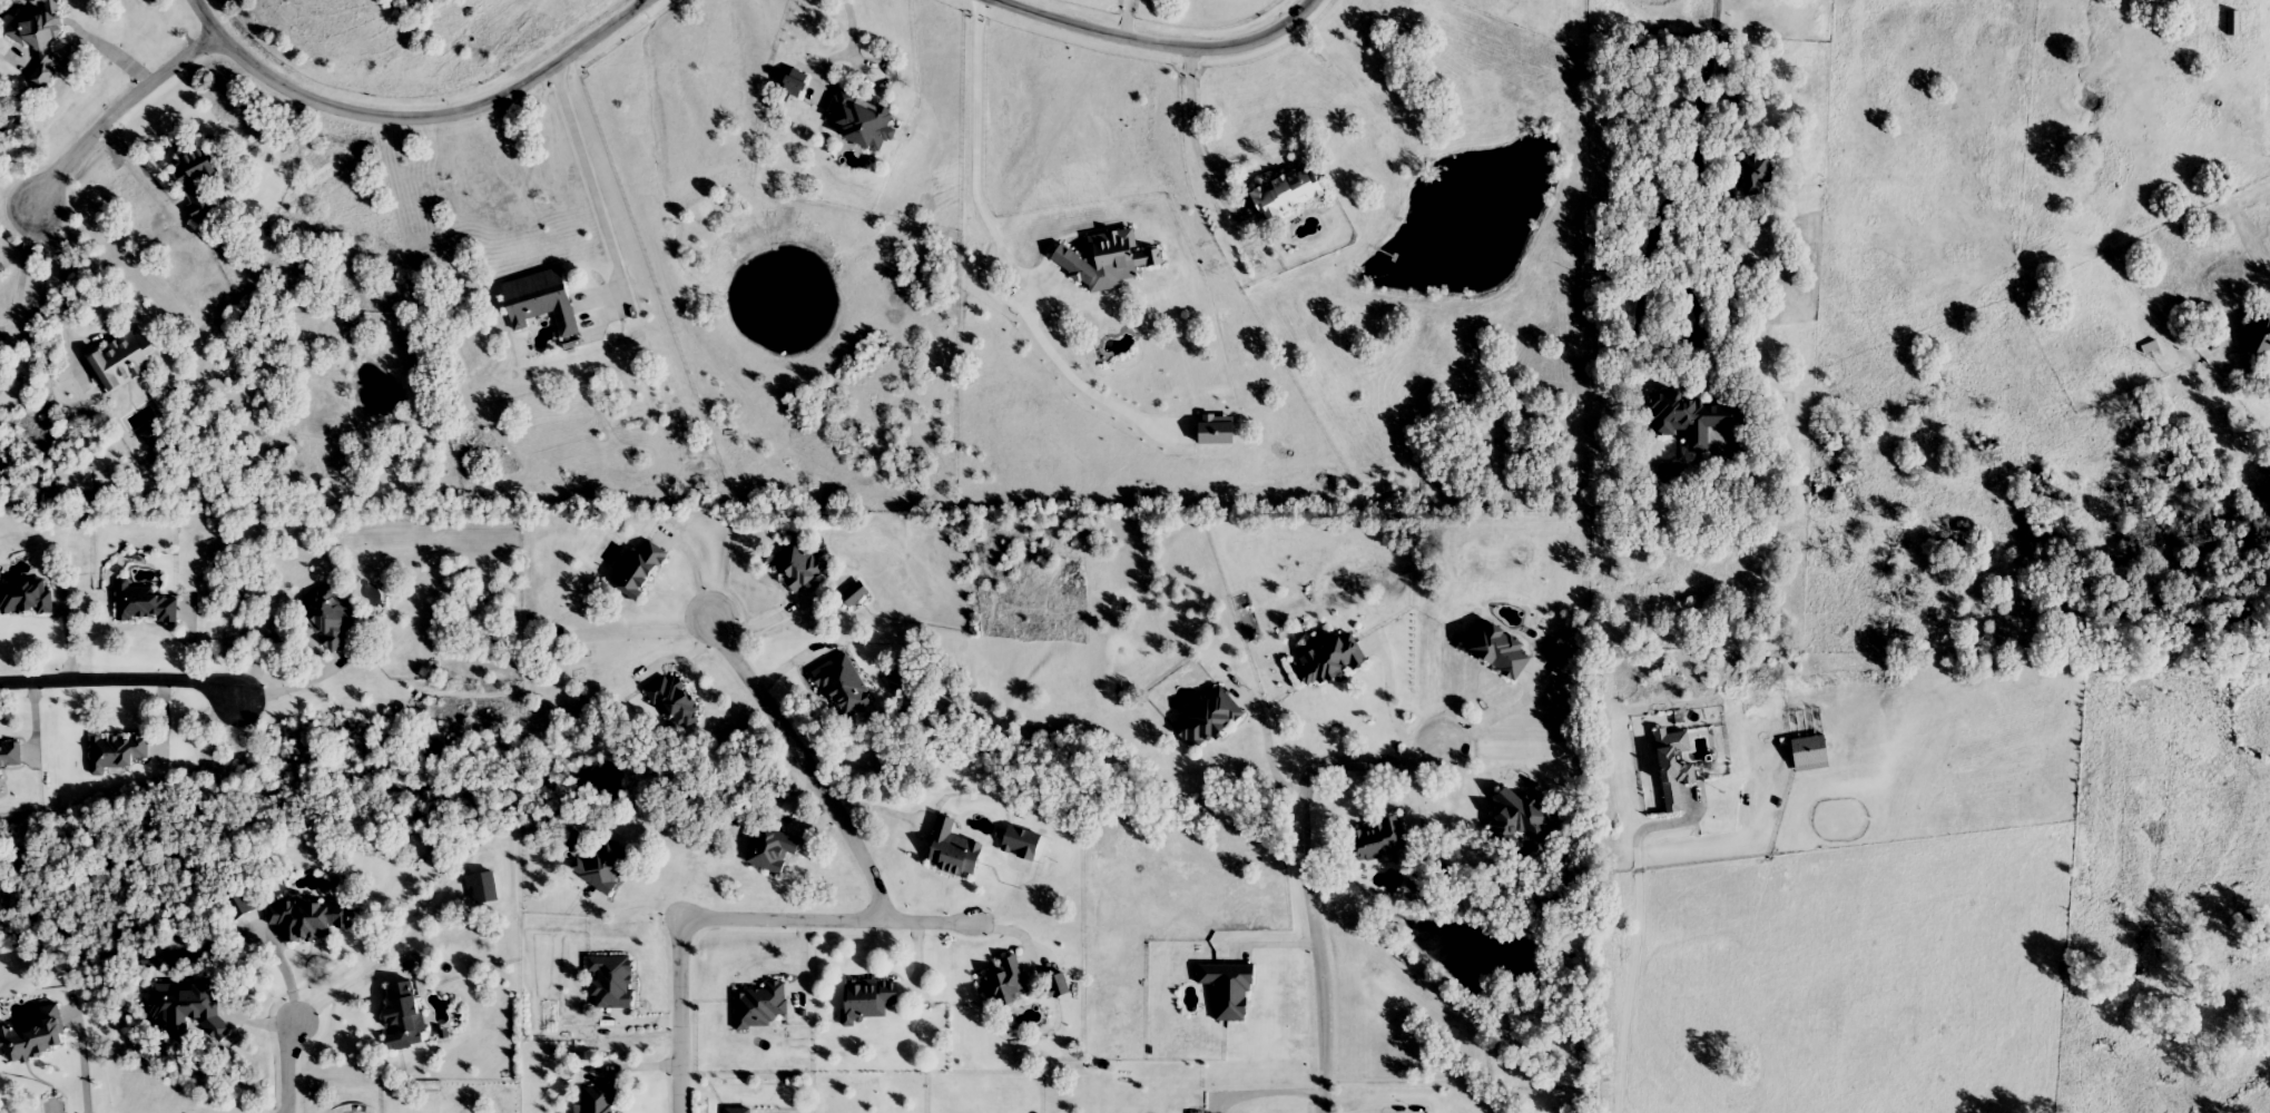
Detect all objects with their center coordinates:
building: (2230, 23)
building: (41, 40)
road: (852, 40)
road: (1160, 45)
road: (110, 49)
road: (109, 104)
road: (419, 118)
building: (865, 120)
road: (1693, 122)
road: (1193, 135)
road: (970, 149)
road: (136, 160)
building: (1756, 175)
building: (200, 179)
road: (590, 181)
building: (1290, 194)
road: (20, 275)
building: (544, 302)
road: (62, 314)
building: (2261, 336)
road: (1674, 337)
building: (125, 361)
building: (1697, 420)
building: (799, 567)
building: (646, 571)
building: (857, 594)
building: (27, 599)
building: (145, 605)
road: (772, 617)
building: (328, 619)
building: (1501, 650)
building: (1331, 663)
road: (124, 684)
building: (847, 688)
building: (676, 702)
road: (1392, 708)
road: (1506, 711)
building: (1212, 720)
building: (119, 754)
building: (12, 756)
road: (1270, 757)
road: (807, 759)
building: (1524, 820)
road: (1665, 823)
building: (1378, 844)
building: (955, 851)
building: (770, 853)
building: (603, 867)
road: (1308, 873)
road: (1639, 899)
road: (736, 916)
building: (303, 920)
building: (611, 983)
building: (1004, 985)
road: (352, 986)
building: (1230, 992)
building: (869, 1001)
building: (761, 1007)
building: (407, 1017)
road: (296, 1065)
road: (1268, 1093)
building: (600, 1101)

